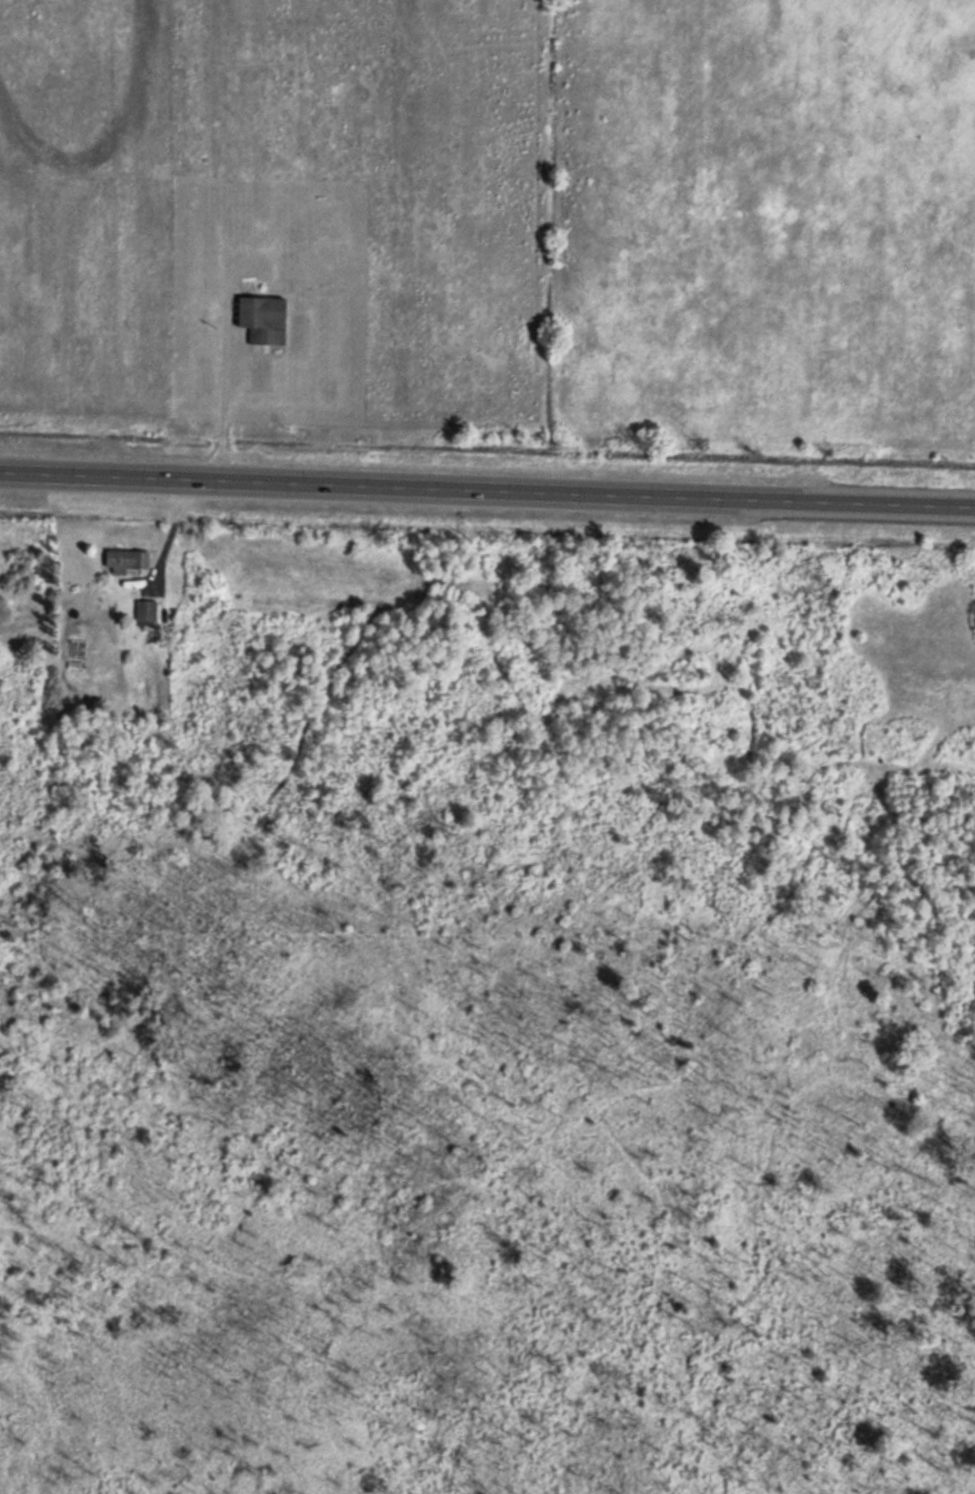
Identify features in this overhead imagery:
building: (258, 317)
road: (223, 363)
road: (487, 484)
road: (168, 529)
building: (121, 556)
building: (142, 609)

